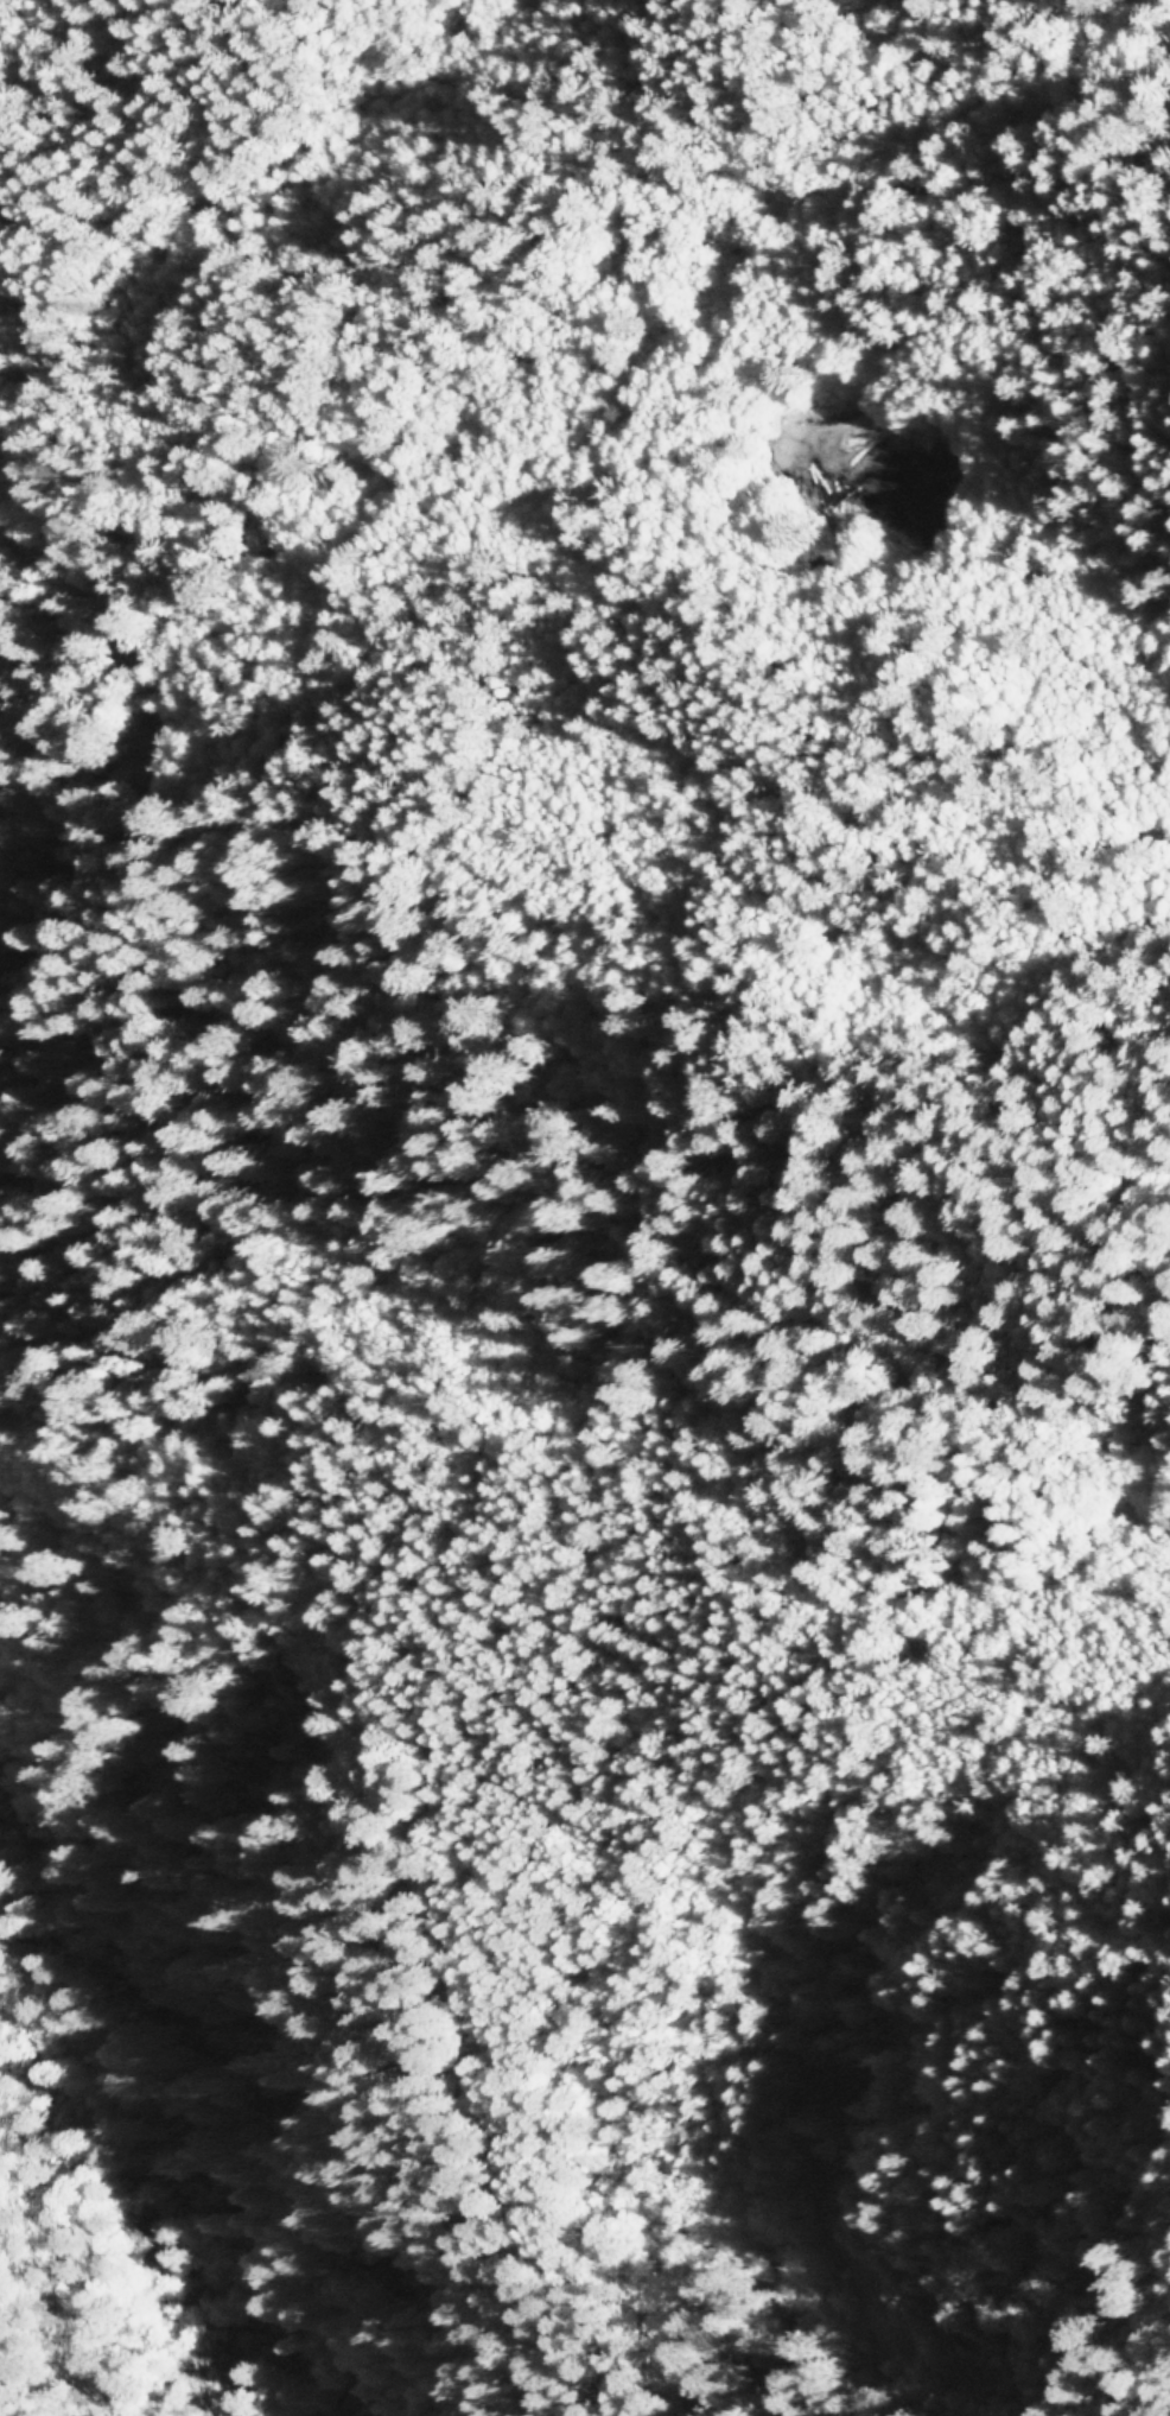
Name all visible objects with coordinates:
road: (833, 735)

